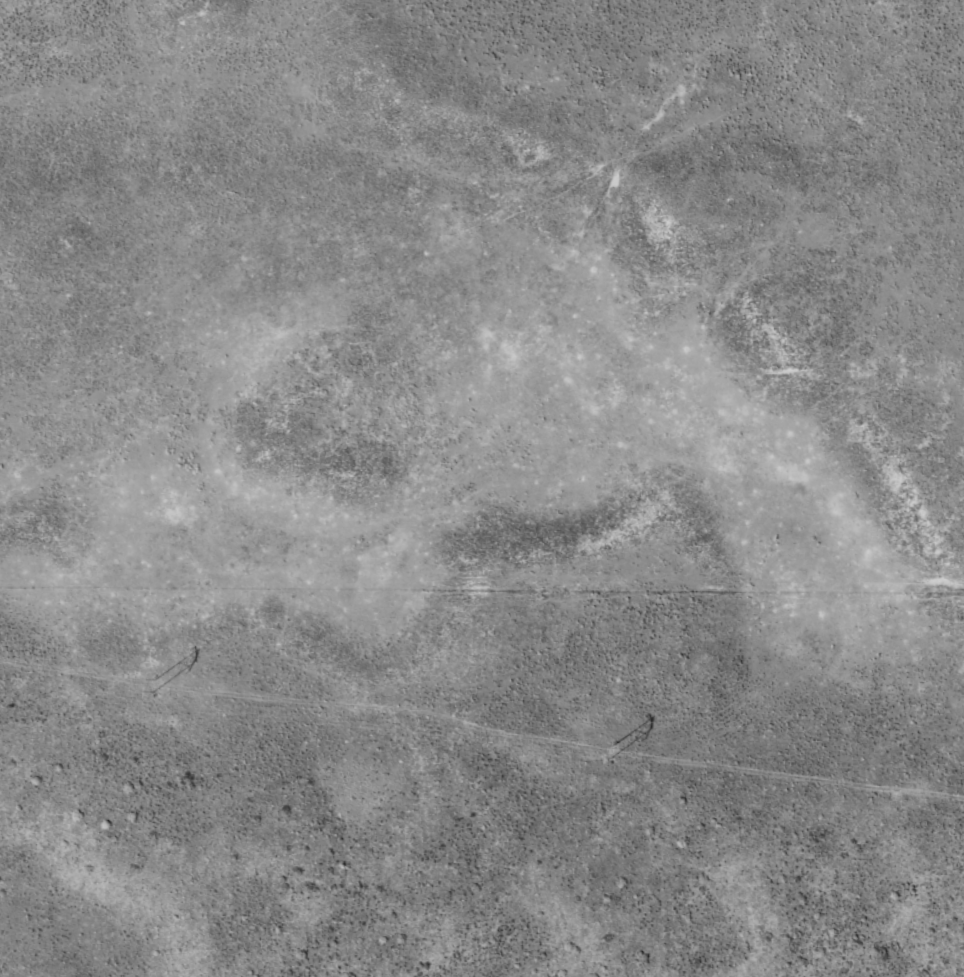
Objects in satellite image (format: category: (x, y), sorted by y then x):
power tower: (150, 683)
power tower: (609, 749)

